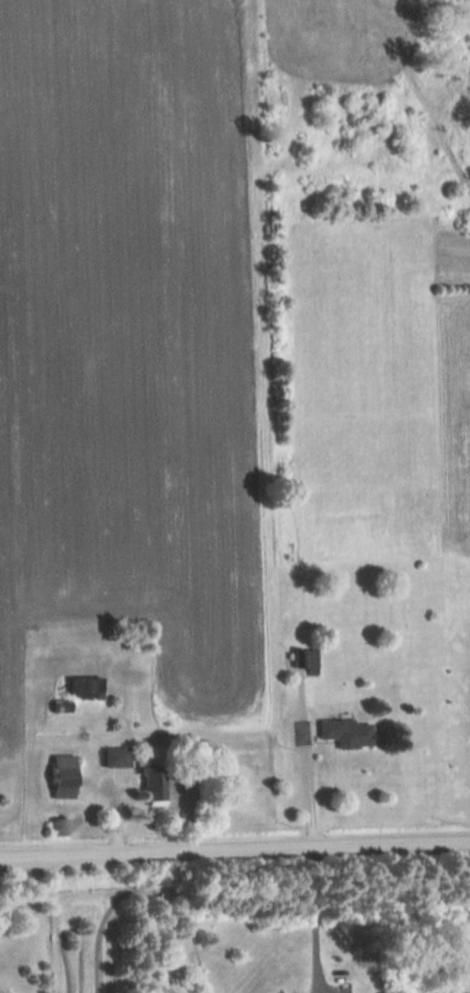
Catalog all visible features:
building: (60, 647)
building: (81, 688)
building: (52, 708)
building: (340, 732)
building: (112, 756)
building: (56, 776)
building: (148, 787)
road: (307, 795)
road: (113, 822)
road: (235, 854)
road: (314, 917)

